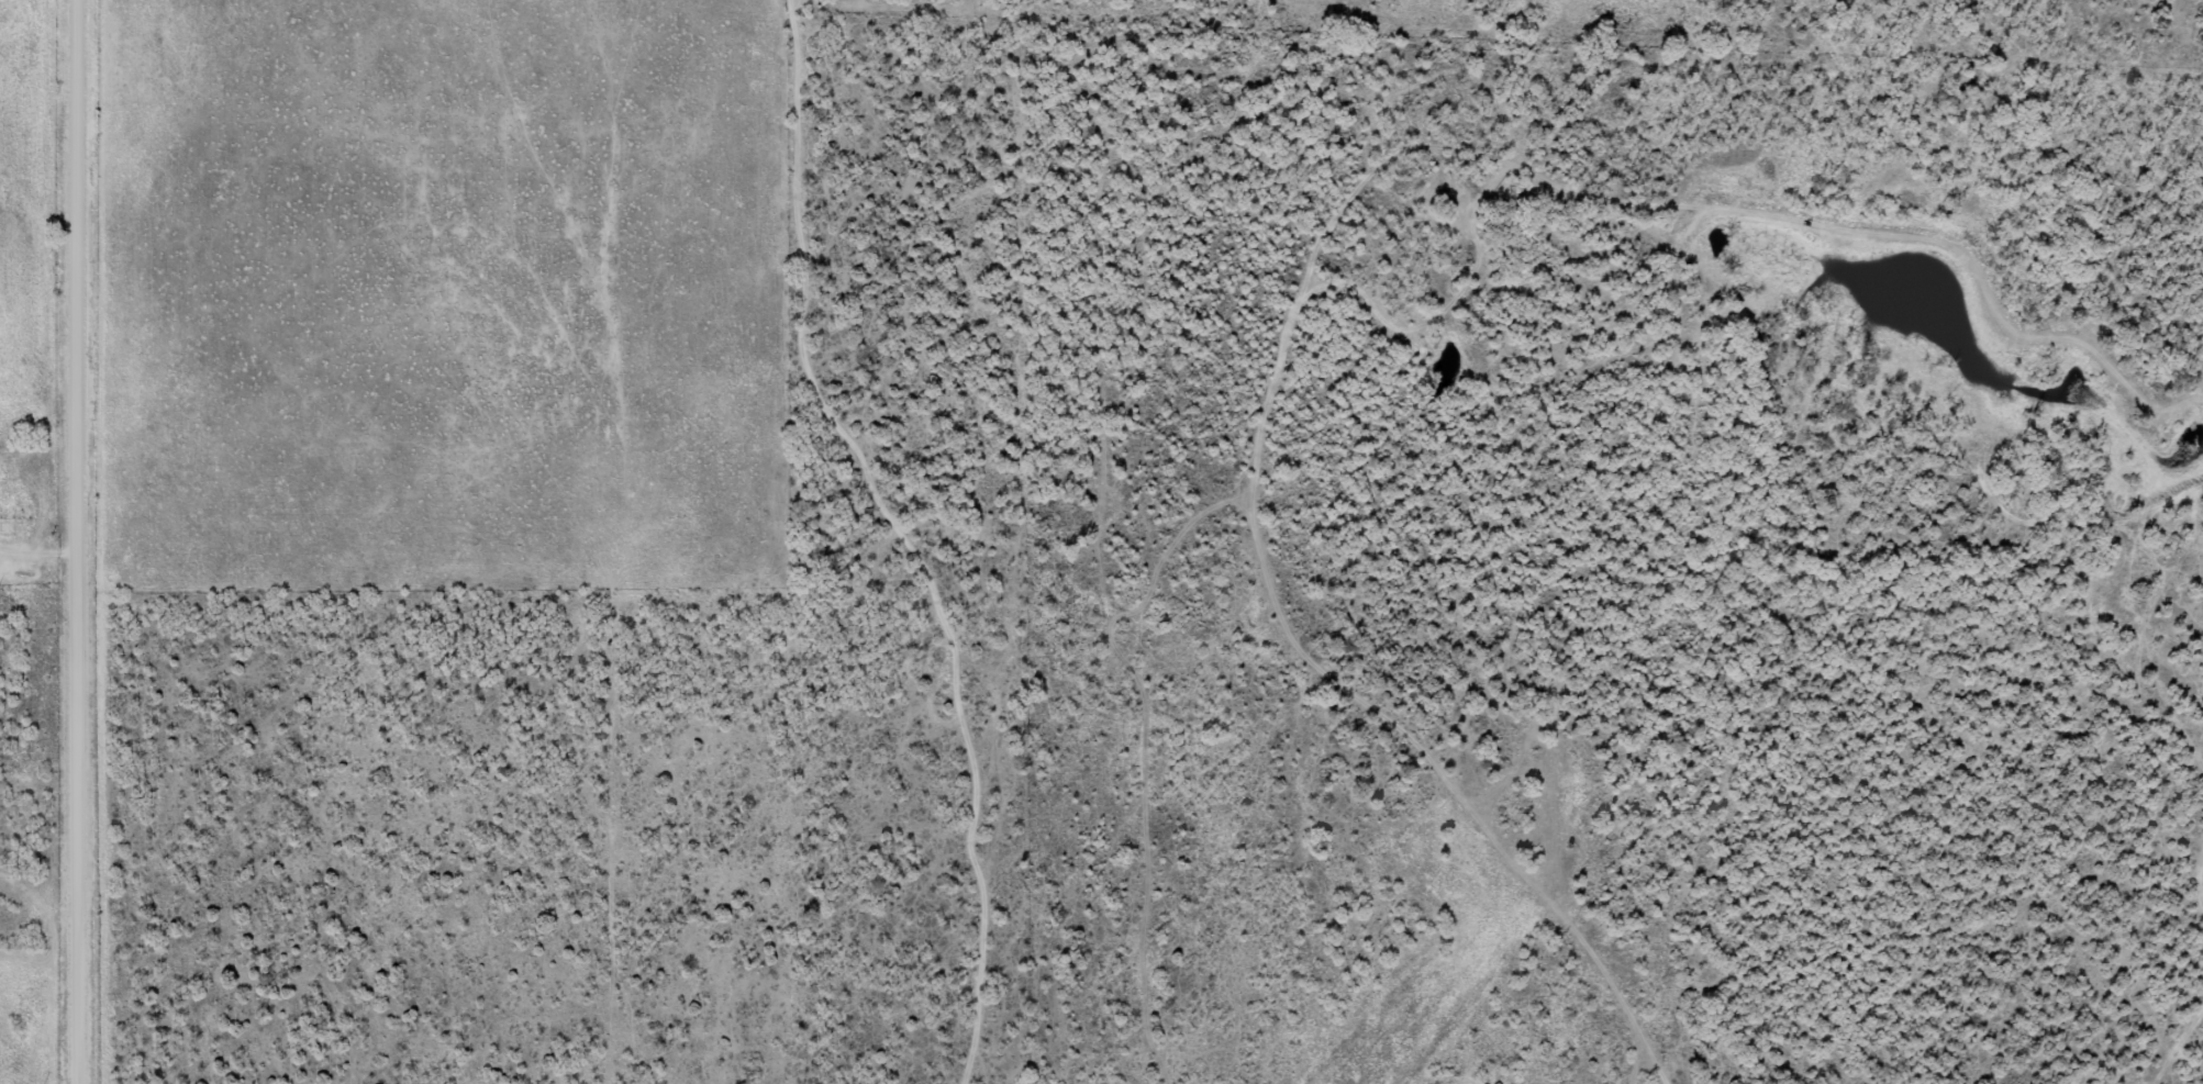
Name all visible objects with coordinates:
road: (115, 541)
road: (946, 546)
road: (58, 556)

